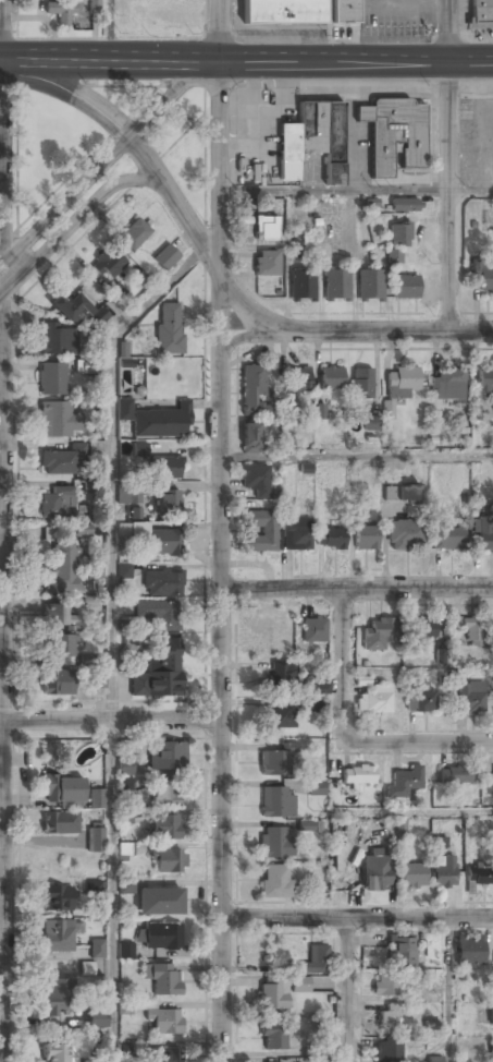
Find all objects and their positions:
building: (56, 11)
building: (282, 12)
building: (345, 12)
building: (481, 14)
road: (109, 32)
road: (246, 64)
road: (70, 94)
building: (393, 134)
building: (311, 141)
road: (106, 162)
road: (447, 166)
road: (355, 192)
building: (404, 205)
road: (72, 222)
building: (266, 228)
building: (134, 236)
building: (399, 236)
road: (198, 244)
building: (394, 256)
building: (165, 257)
building: (266, 263)
building: (109, 264)
building: (483, 276)
building: (335, 285)
building: (301, 286)
building: (370, 286)
building: (406, 287)
building: (116, 291)
building: (77, 310)
building: (169, 329)
road: (389, 333)
road: (246, 337)
building: (54, 340)
building: (123, 349)
building: (89, 366)
building: (331, 377)
building: (51, 379)
building: (402, 379)
building: (296, 381)
building: (361, 383)
building: (485, 383)
building: (446, 386)
building: (254, 390)
building: (386, 410)
building: (58, 421)
building: (162, 422)
building: (370, 423)
building: (250, 437)
building: (96, 447)
building: (139, 448)
road: (1, 450)
road: (355, 457)
building: (61, 462)
building: (165, 468)
building: (255, 480)
building: (406, 493)
building: (127, 496)
building: (168, 503)
building: (57, 504)
building: (287, 506)
building: (354, 510)
building: (135, 512)
building: (132, 530)
road: (3, 531)
building: (82, 531)
road: (218, 531)
building: (260, 531)
building: (296, 532)
building: (406, 534)
building: (482, 535)
building: (330, 538)
building: (366, 538)
building: (448, 539)
building: (160, 542)
building: (95, 567)
building: (62, 569)
building: (124, 570)
building: (162, 583)
road: (355, 588)
building: (160, 614)
building: (60, 616)
building: (313, 629)
building: (422, 630)
building: (473, 632)
building: (378, 635)
road: (112, 638)
building: (130, 640)
building: (60, 651)
road: (342, 666)
building: (159, 671)
building: (283, 676)
building: (58, 683)
building: (471, 698)
building: (313, 699)
building: (373, 700)
building: (420, 700)
building: (281, 719)
road: (110, 721)
road: (418, 745)
building: (167, 756)
building: (276, 761)
building: (125, 767)
building: (358, 775)
building: (454, 775)
building: (125, 783)
building: (403, 783)
building: (315, 788)
building: (62, 789)
building: (165, 794)
building: (96, 799)
building: (276, 802)
road: (414, 813)
building: (125, 816)
building: (60, 824)
building: (165, 826)
building: (400, 828)
building: (95, 838)
building: (437, 842)
building: (275, 843)
building: (125, 848)
building: (169, 860)
building: (443, 871)
building: (375, 873)
building: (479, 873)
building: (412, 876)
building: (275, 881)
building: (126, 885)
building: (94, 886)
building: (57, 900)
building: (158, 902)
road: (357, 917)
building: (57, 937)
building: (161, 937)
building: (97, 949)
building: (125, 950)
building: (469, 951)
building: (400, 953)
building: (315, 962)
building: (86, 968)
building: (162, 978)
road: (2, 981)
building: (299, 985)
building: (385, 987)
road: (347, 989)
road: (448, 989)
building: (273, 994)
building: (56, 997)
building: (96, 1016)
building: (491, 1016)
building: (386, 1018)
building: (165, 1021)
building: (274, 1037)
building: (387, 1052)
building: (56, 1053)
building: (491, 1053)
building: (164, 1055)
building: (434, 1059)
building: (85, 1060)
building: (318, 1060)

